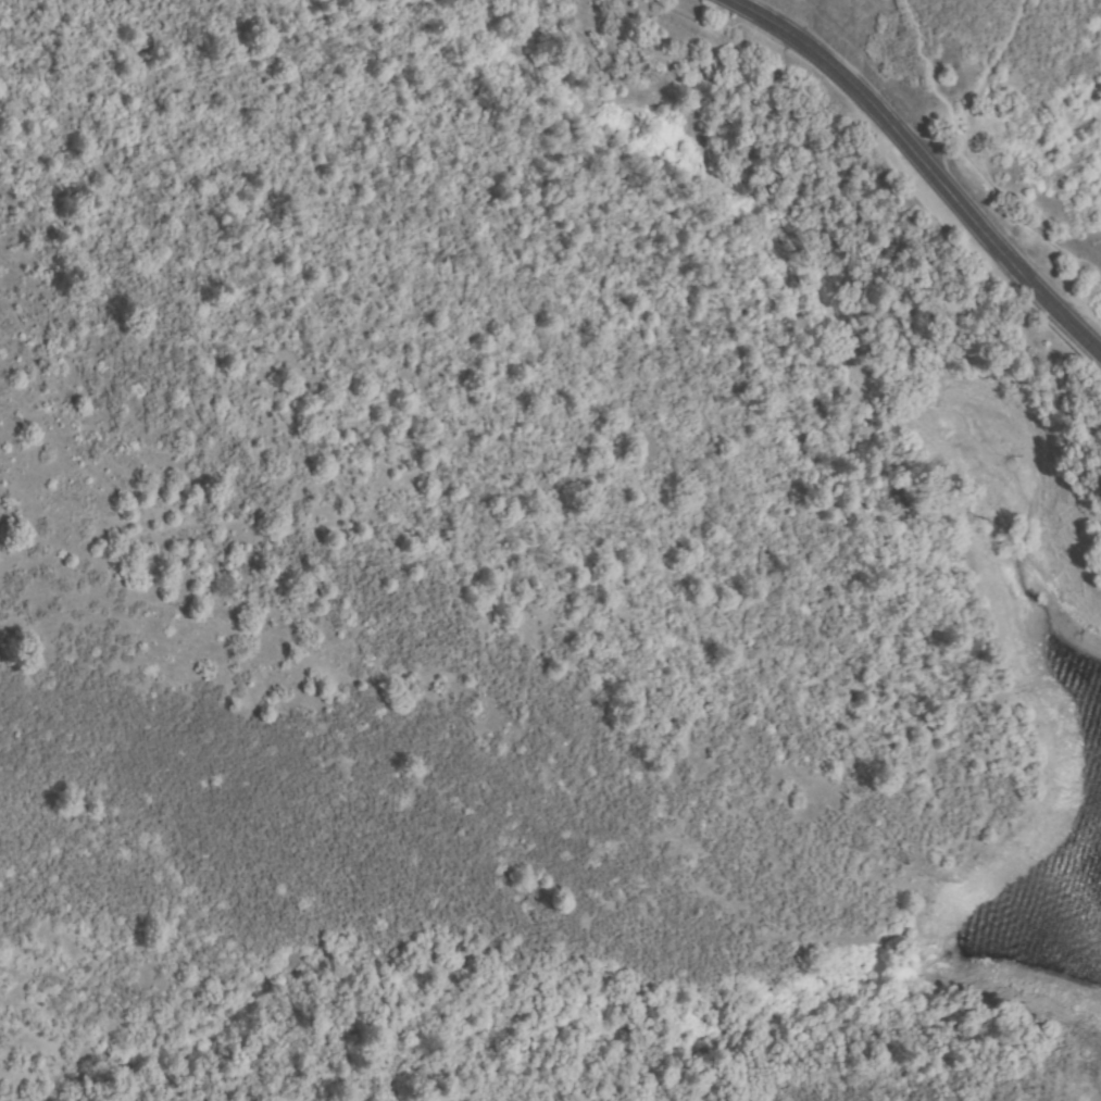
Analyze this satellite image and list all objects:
road: (974, 83)
road: (924, 164)

